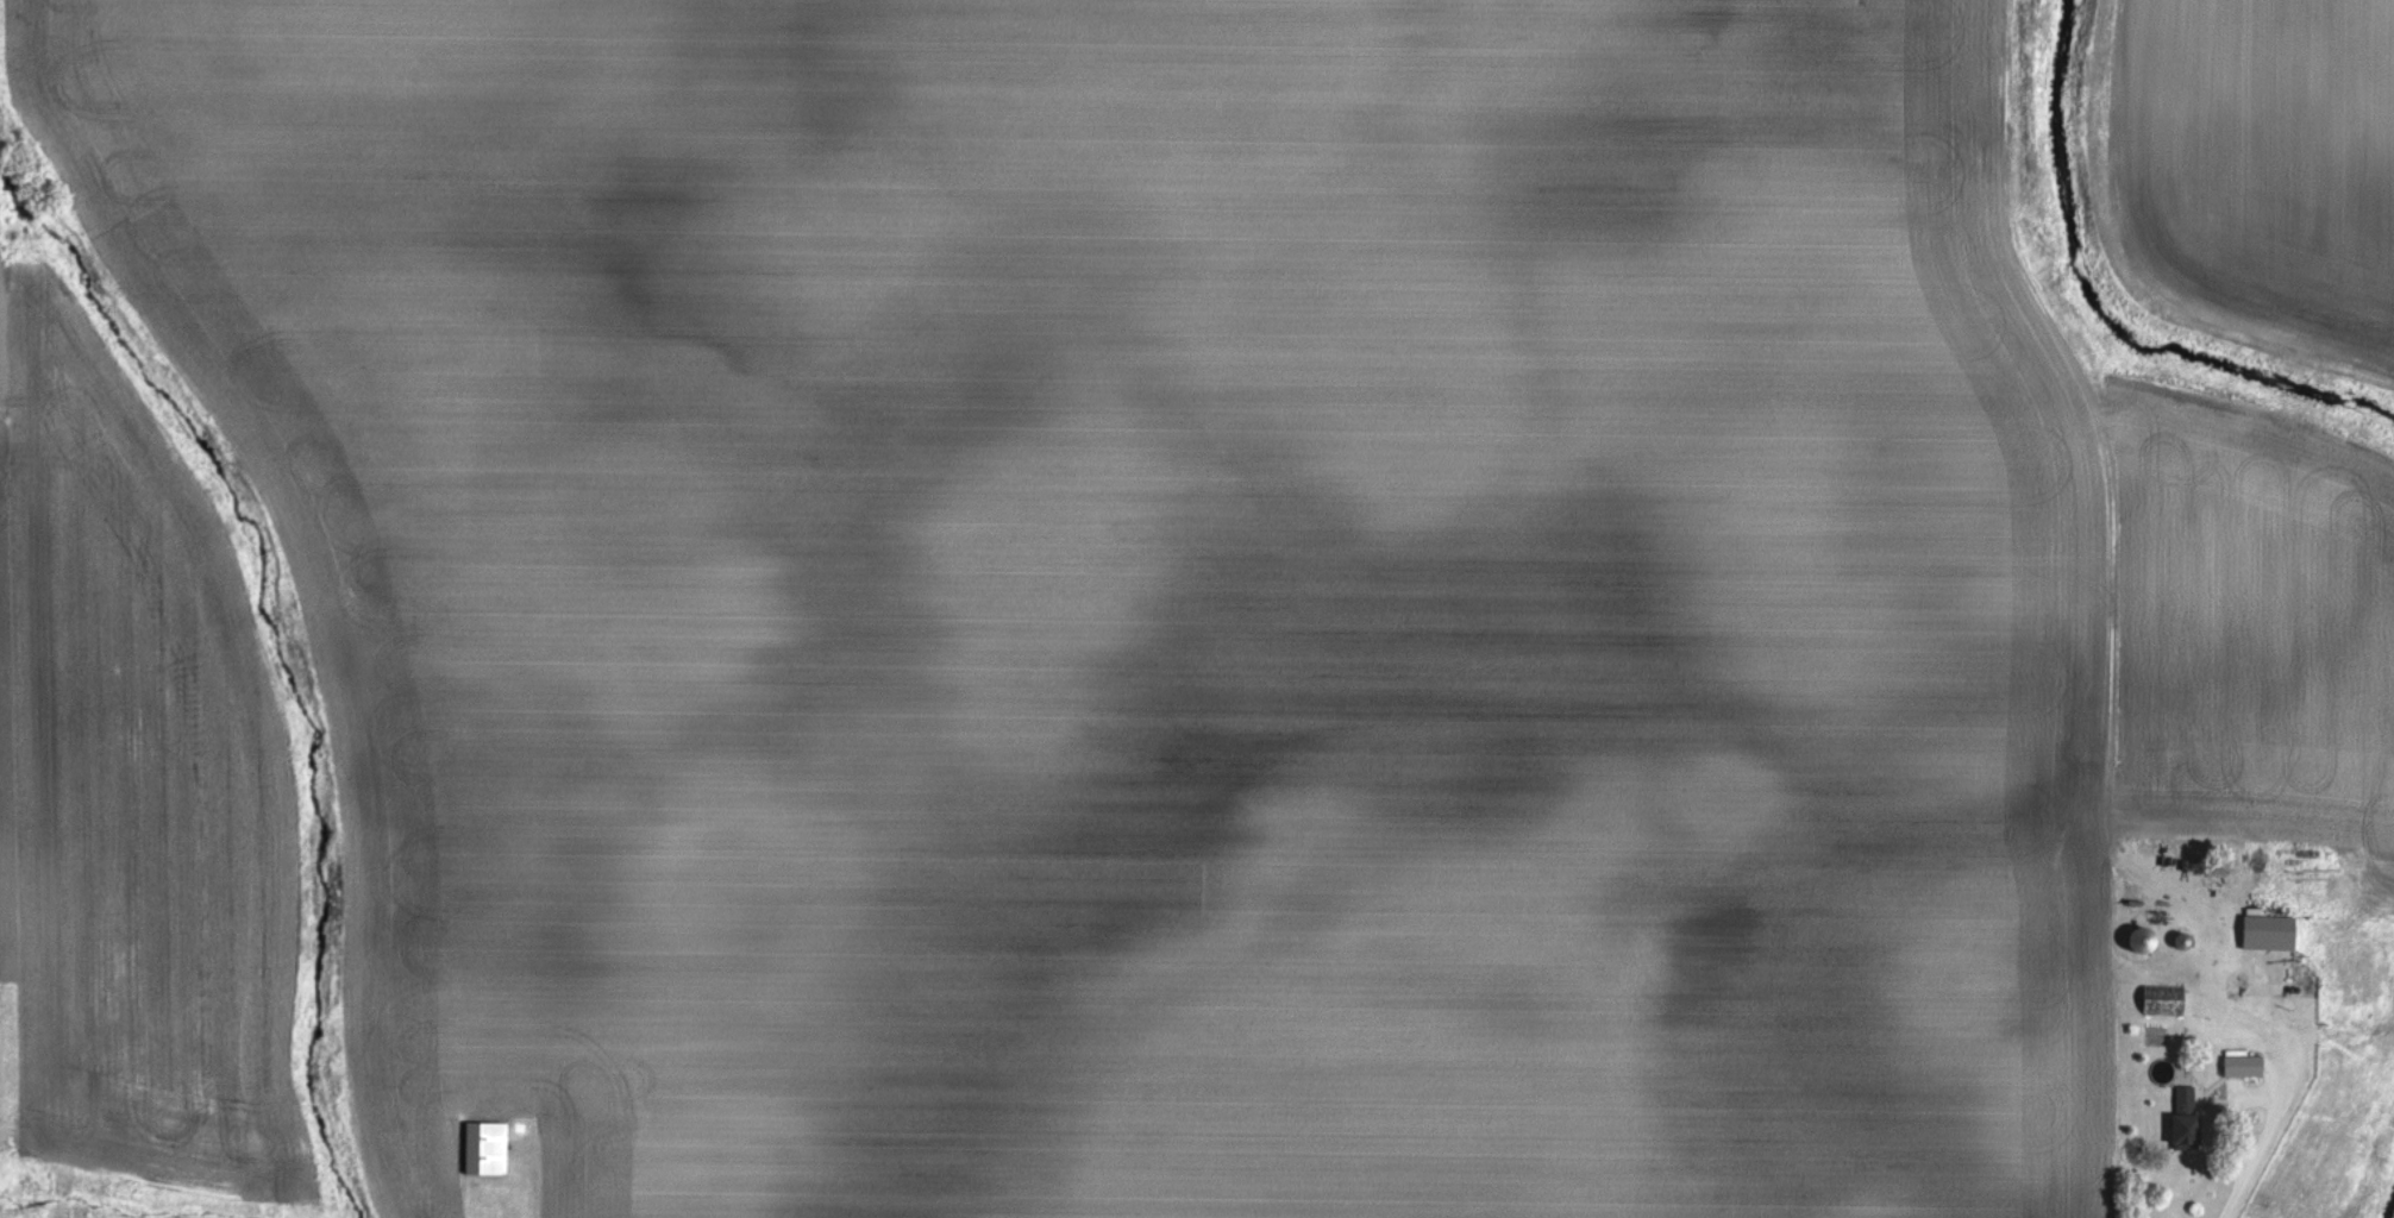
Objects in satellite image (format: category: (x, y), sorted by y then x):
building: (2268, 934)
building: (2183, 1123)
road: (2261, 1139)

